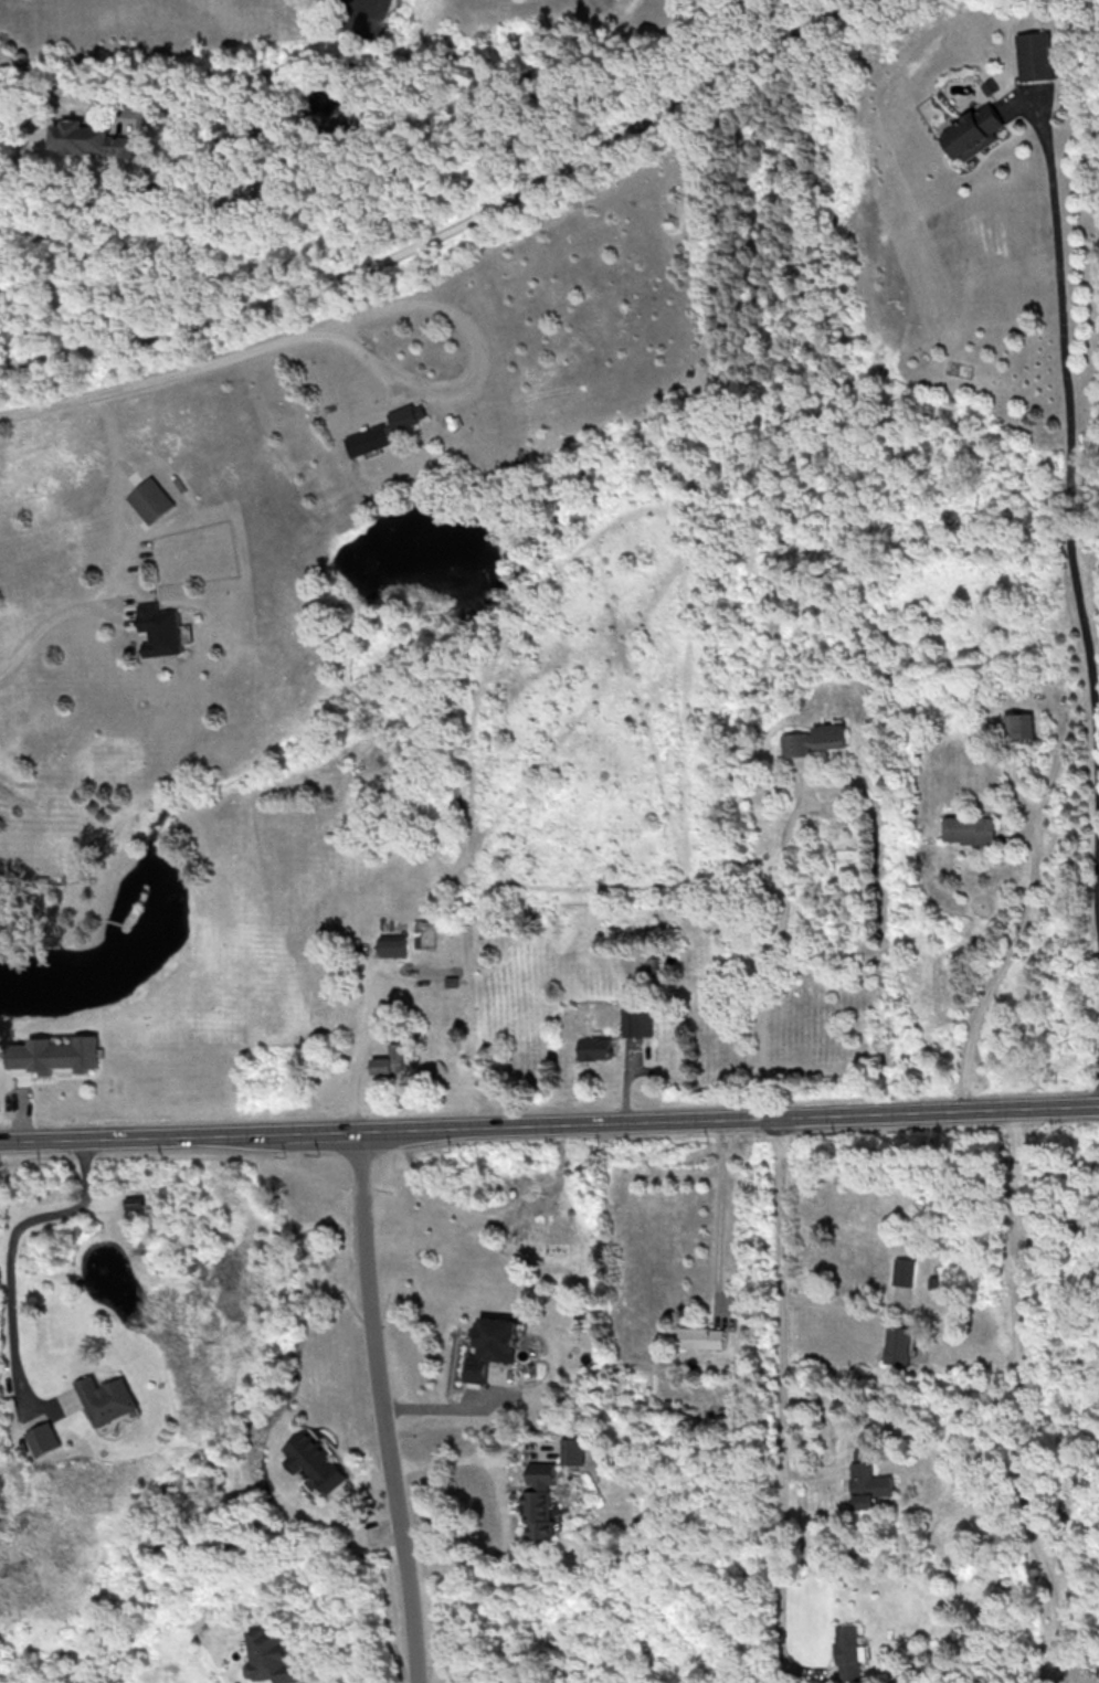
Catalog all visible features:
building: (1036, 55)
building: (990, 86)
building: (972, 131)
building: (89, 138)
park: (532, 182)
road: (112, 195)
road: (447, 231)
road: (471, 361)
road: (160, 380)
building: (384, 430)
building: (151, 499)
road: (1068, 514)
road: (50, 623)
building: (160, 628)
building: (1017, 726)
building: (829, 735)
building: (796, 743)
building: (968, 829)
building: (423, 931)
building: (392, 945)
road: (771, 956)
road: (998, 975)
building: (636, 1019)
building: (594, 1048)
building: (54, 1054)
road: (363, 1059)
building: (389, 1060)
road: (549, 1126)
building: (134, 1202)
road: (721, 1220)
road: (10, 1242)
building: (902, 1271)
building: (700, 1337)
building: (897, 1344)
building: (492, 1346)
building: (105, 1398)
road: (1014, 1399)
road: (780, 1401)
road: (388, 1408)
building: (41, 1438)
building: (572, 1450)
building: (315, 1463)
building: (868, 1484)
building: (538, 1500)
road: (503, 1501)
building: (847, 1652)
building: (271, 1656)

